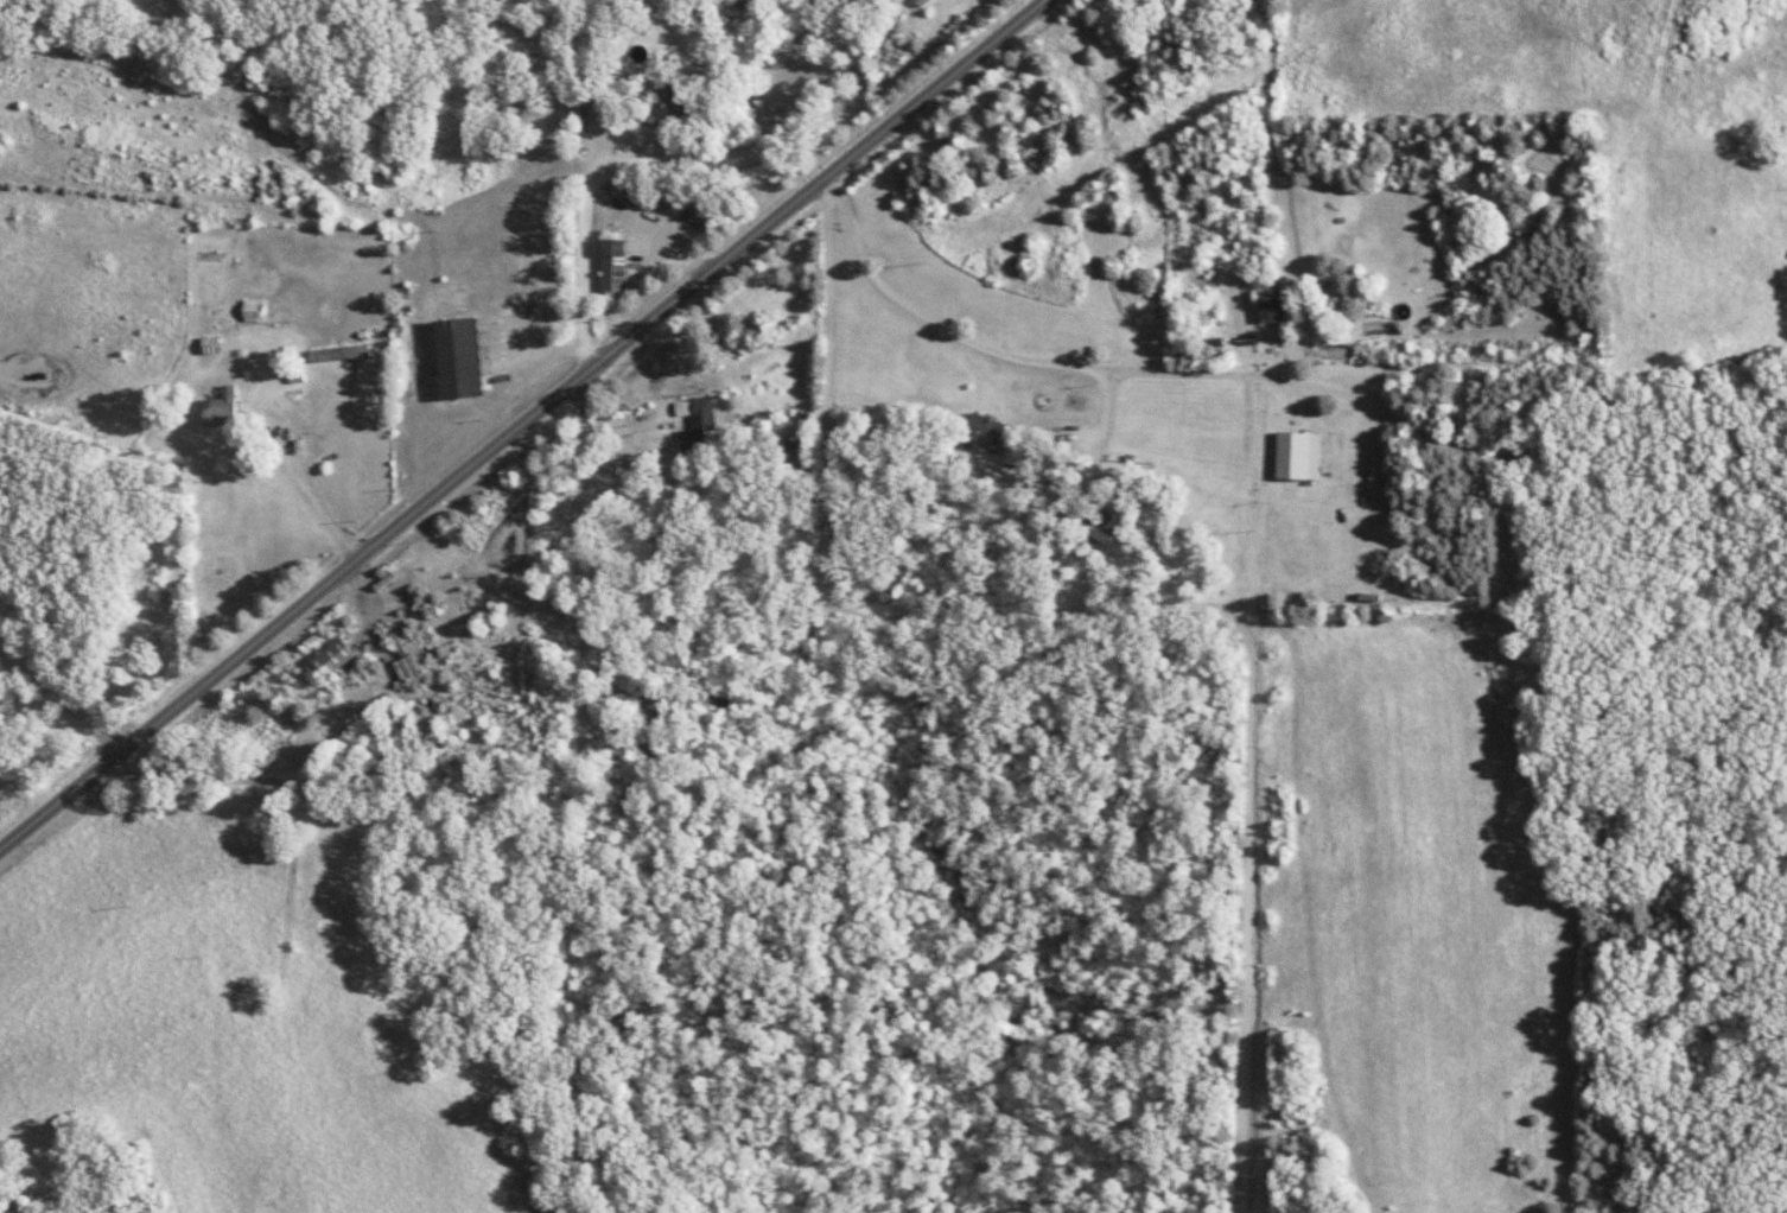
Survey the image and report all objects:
building: (602, 13)
road: (822, 80)
building: (603, 95)
building: (674, 104)
building: (622, 265)
building: (1278, 303)
road: (988, 348)
building: (468, 357)
building: (228, 408)
building: (688, 408)
road: (522, 421)
building: (991, 431)
building: (1305, 456)
building: (1020, 458)
road: (301, 484)
building: (1080, 517)
building: (1108, 528)
road: (1126, 610)
building: (341, 658)
road: (57, 697)

